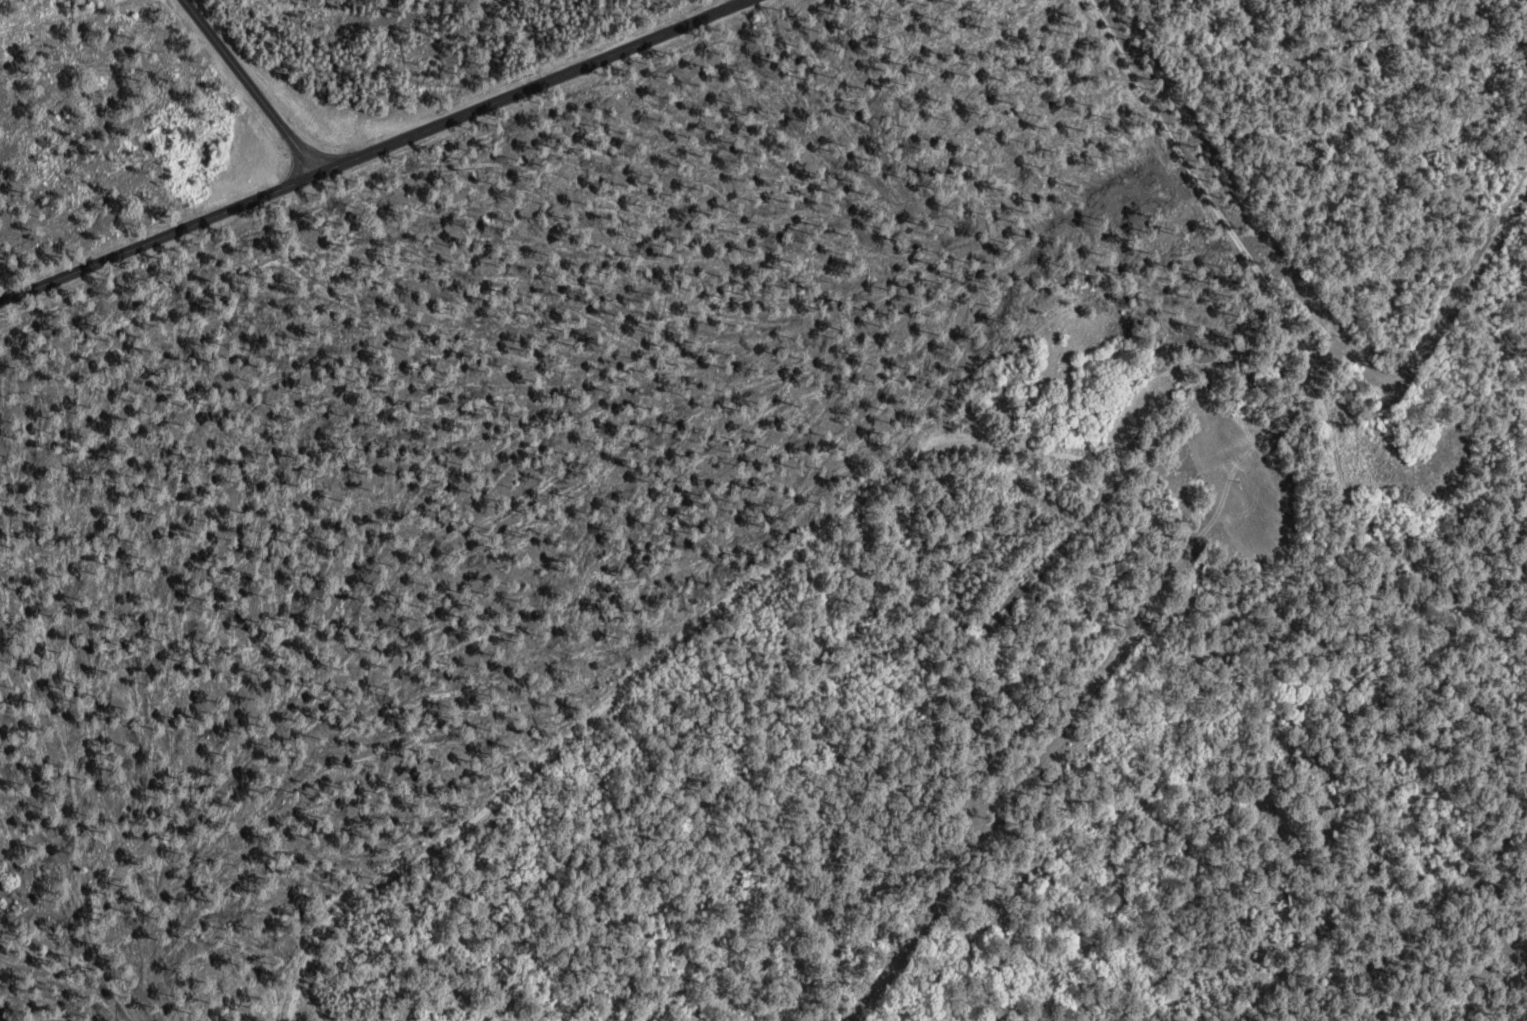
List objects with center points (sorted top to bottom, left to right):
road: (253, 87)
road: (374, 151)

